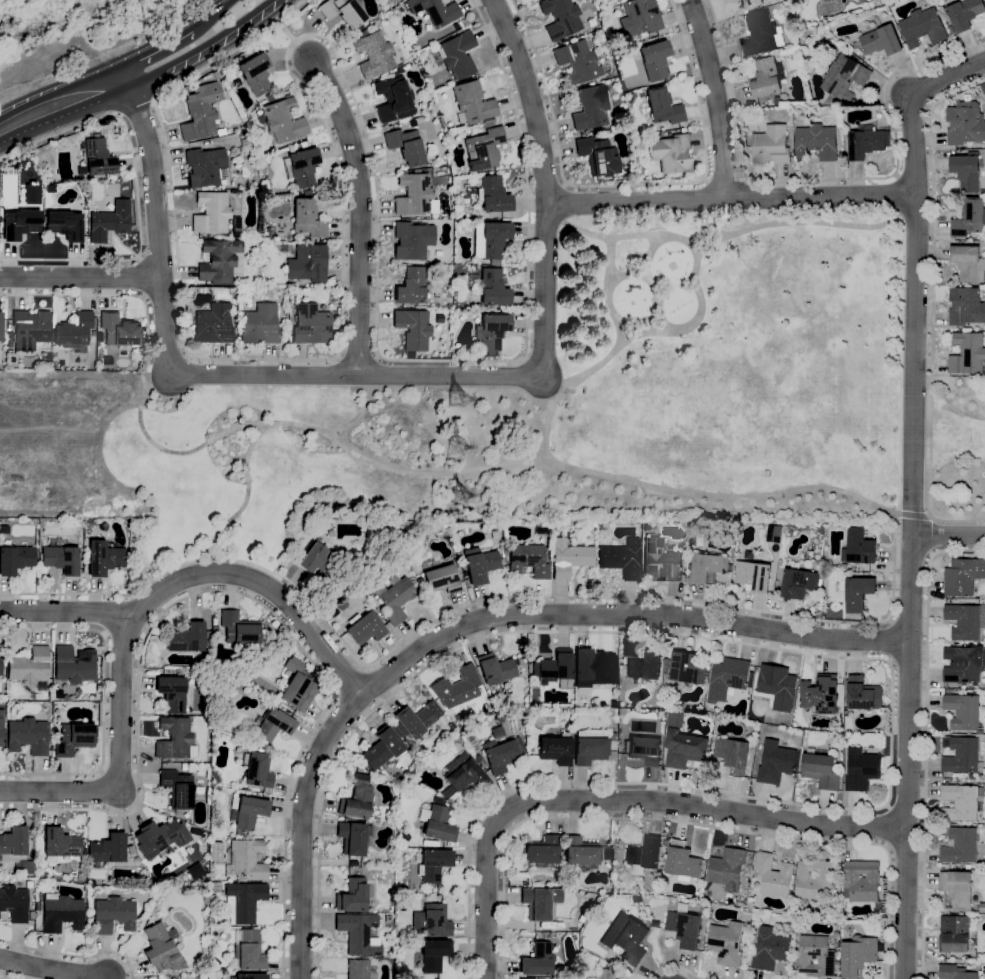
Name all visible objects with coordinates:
building: (611, 0)
building: (828, 0)
building: (794, 3)
building: (750, 4)
building: (343, 11)
building: (435, 11)
road: (207, 13)
building: (964, 14)
building: (640, 17)
building: (560, 18)
building: (922, 28)
road: (286, 30)
building: (951, 30)
building: (758, 34)
building: (650, 39)
building: (880, 41)
road: (152, 46)
road: (205, 49)
building: (373, 54)
building: (457, 55)
building: (654, 60)
building: (577, 62)
building: (255, 73)
building: (766, 78)
building: (844, 78)
building: (236, 83)
road: (715, 98)
building: (393, 99)
building: (630, 99)
road: (529, 100)
building: (776, 101)
building: (471, 103)
road: (64, 105)
road: (137, 107)
building: (662, 107)
building: (590, 108)
building: (200, 111)
building: (247, 116)
building: (282, 121)
building: (412, 123)
building: (488, 123)
building: (964, 124)
building: (661, 129)
building: (657, 135)
building: (244, 142)
building: (816, 142)
building: (865, 142)
building: (303, 144)
building: (405, 146)
building: (770, 146)
building: (483, 149)
building: (671, 153)
building: (841, 154)
building: (597, 156)
building: (98, 157)
building: (205, 167)
building: (301, 167)
building: (635, 172)
building: (967, 172)
road: (525, 173)
road: (725, 179)
road: (830, 179)
road: (631, 185)
road: (137, 189)
building: (306, 192)
building: (413, 194)
building: (492, 195)
road: (896, 196)
road: (730, 198)
road: (359, 212)
building: (211, 213)
road: (712, 218)
building: (306, 219)
building: (969, 219)
building: (110, 222)
road: (811, 222)
building: (20, 224)
road: (157, 224)
building: (236, 224)
building: (64, 225)
road: (575, 229)
road: (342, 230)
building: (412, 240)
building: (490, 240)
road: (610, 243)
building: (218, 262)
building: (307, 263)
building: (968, 264)
building: (244, 275)
road: (81, 276)
building: (410, 287)
building: (490, 287)
road: (117, 298)
building: (447, 305)
building: (965, 307)
road: (931, 309)
building: (259, 324)
building: (213, 325)
building: (310, 325)
building: (0, 326)
building: (30, 329)
building: (413, 329)
building: (74, 330)
building: (118, 331)
building: (491, 332)
building: (143, 334)
building: (967, 354)
road: (524, 358)
building: (12, 360)
building: (45, 362)
building: (3, 364)
road: (442, 376)
road: (541, 376)
power tower: (464, 395)
park: (570, 404)
road: (355, 414)
power tower: (457, 448)
park: (954, 450)
road: (475, 470)
power tower: (461, 497)
road: (912, 497)
road: (244, 504)
road: (912, 515)
building: (592, 524)
building: (88, 526)
building: (599, 526)
building: (441, 528)
building: (374, 530)
building: (542, 530)
building: (494, 534)
building: (773, 535)
road: (931, 536)
road: (947, 537)
building: (685, 540)
building: (695, 542)
building: (860, 548)
building: (842, 555)
building: (458, 556)
building: (104, 558)
building: (569, 558)
building: (15, 559)
building: (60, 559)
building: (621, 559)
building: (317, 560)
building: (528, 560)
building: (660, 562)
building: (480, 564)
building: (708, 568)
building: (843, 568)
building: (753, 577)
building: (962, 577)
road: (181, 579)
building: (442, 579)
building: (798, 584)
building: (463, 585)
building: (415, 586)
building: (858, 594)
road: (244, 595)
building: (394, 598)
road: (612, 598)
building: (341, 605)
road: (68, 611)
building: (213, 621)
road: (474, 621)
building: (963, 622)
building: (238, 628)
building: (364, 628)
building: (214, 629)
building: (188, 638)
road: (889, 642)
road: (841, 657)
building: (1, 665)
building: (74, 665)
building: (961, 665)
building: (30, 668)
building: (522, 668)
building: (593, 668)
building: (644, 668)
building: (665, 668)
building: (495, 669)
building: (686, 669)
building: (173, 670)
building: (554, 670)
building: (286, 673)
building: (726, 679)
building: (750, 680)
road: (351, 682)
building: (456, 687)
building: (776, 687)
building: (297, 692)
building: (172, 693)
building: (861, 694)
road: (337, 695)
building: (820, 695)
building: (40, 696)
building: (44, 696)
road: (103, 700)
building: (474, 703)
building: (45, 707)
building: (285, 707)
building: (194, 711)
building: (962, 712)
building: (56, 716)
building: (498, 717)
building: (417, 718)
building: (674, 721)
building: (272, 726)
building: (1, 728)
building: (27, 736)
building: (612, 737)
building: (747, 737)
building: (73, 738)
road: (925, 738)
building: (175, 739)
building: (589, 747)
building: (383, 749)
building: (556, 749)
building: (684, 749)
building: (260, 750)
building: (530, 750)
building: (645, 750)
building: (498, 755)
building: (732, 755)
building: (961, 756)
building: (478, 757)
building: (774, 763)
building: (183, 767)
building: (861, 770)
building: (257, 771)
building: (820, 771)
building: (462, 776)
building: (975, 777)
building: (177, 789)
road: (59, 790)
building: (356, 799)
road: (619, 801)
building: (958, 803)
building: (246, 812)
building: (436, 822)
road: (688, 824)
road: (885, 826)
building: (193, 829)
building: (160, 837)
building: (353, 837)
building: (404, 837)
building: (60, 843)
building: (430, 843)
building: (960, 846)
building: (15, 847)
building: (84, 849)
building: (107, 849)
building: (132, 850)
building: (541, 850)
building: (580, 854)
building: (644, 854)
building: (245, 860)
building: (353, 863)
building: (681, 863)
building: (434, 864)
building: (968, 867)
building: (636, 870)
building: (727, 870)
building: (168, 874)
building: (773, 876)
building: (813, 879)
building: (862, 883)
building: (215, 889)
building: (955, 891)
building: (352, 895)
building: (243, 901)
building: (33, 902)
building: (540, 902)
building: (14, 903)
building: (37, 903)
building: (982, 908)
building: (61, 913)
building: (31, 914)
building: (113, 914)
building: (746, 917)
building: (580, 919)
building: (89, 921)
building: (386, 921)
building: (436, 921)
building: (684, 928)
building: (357, 933)
building: (956, 934)
building: (545, 936)
building: (626, 938)
building: (747, 942)
building: (726, 944)
building: (162, 949)
building: (769, 950)
building: (250, 951)
road: (73, 955)
building: (432, 955)
building: (858, 955)
building: (608, 957)
building: (815, 957)
building: (537, 960)
building: (600, 962)
road: (53, 967)
road: (675, 967)
building: (230, 969)
building: (357, 969)
building: (954, 972)
building: (602, 974)
building: (160, 976)
building: (250, 976)
road: (6, 977)
building: (173, 978)
building: (526, 978)

